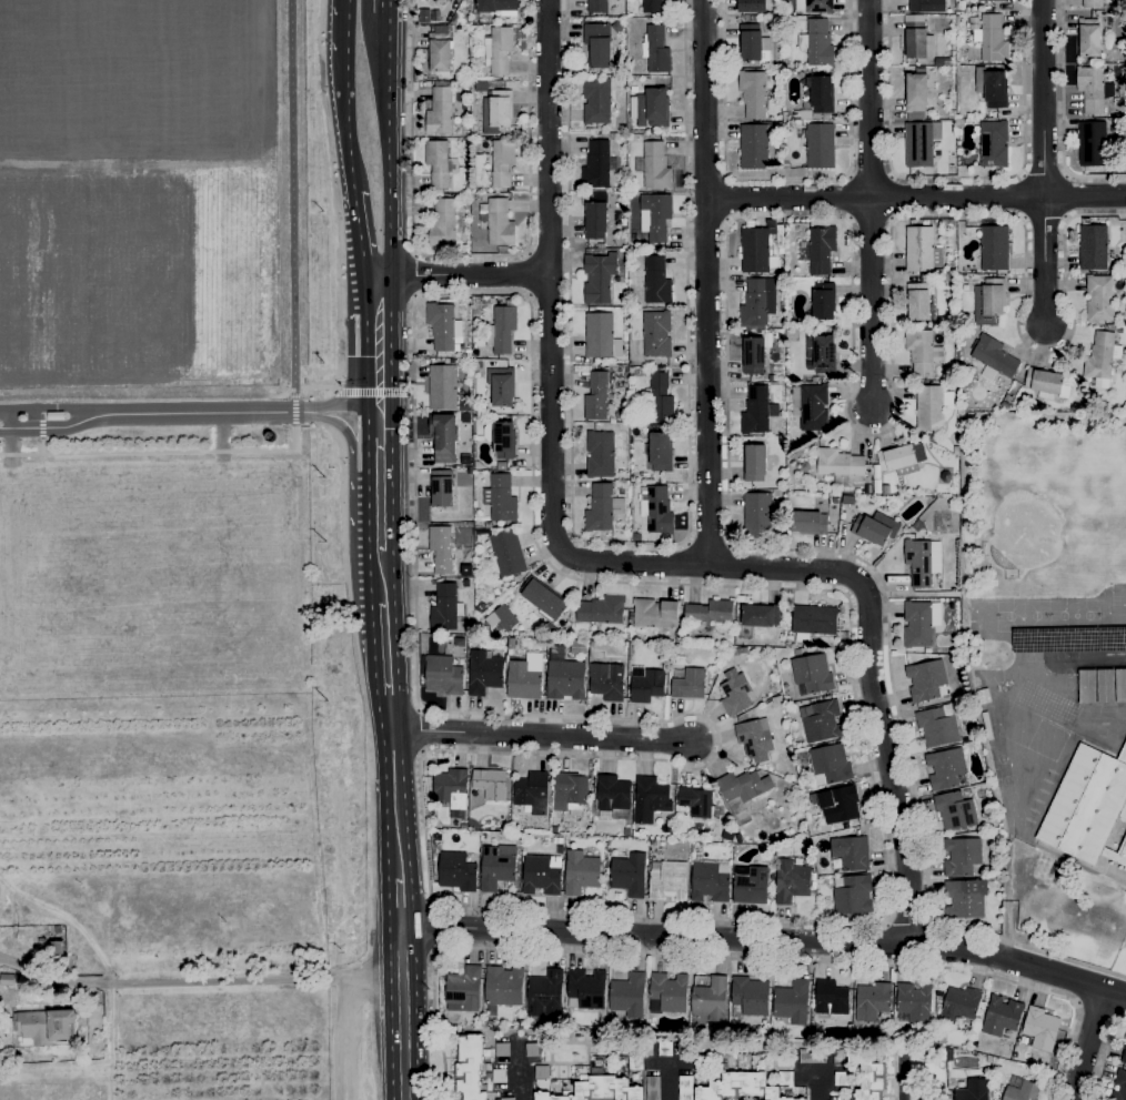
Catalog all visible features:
building: (996, 0)
building: (1093, 3)
road: (385, 4)
building: (496, 6)
building: (754, 6)
building: (814, 6)
building: (927, 6)
building: (597, 7)
building: (652, 7)
building: (423, 16)
building: (750, 18)
building: (455, 19)
building: (957, 19)
building: (616, 27)
building: (476, 28)
road: (344, 29)
building: (1088, 38)
building: (917, 39)
building: (993, 39)
building: (817, 43)
road: (386, 44)
building: (754, 44)
building: (597, 46)
building: (500, 50)
building: (656, 50)
building: (440, 54)
building: (942, 62)
building: (481, 87)
building: (992, 88)
building: (1094, 89)
building: (753, 93)
building: (822, 94)
building: (916, 94)
road: (869, 98)
road: (1044, 98)
building: (596, 101)
building: (657, 107)
building: (440, 110)
building: (496, 110)
building: (952, 113)
road: (1062, 117)
road: (345, 125)
road: (527, 128)
building: (623, 129)
building: (619, 137)
building: (921, 143)
building: (994, 144)
building: (1092, 144)
building: (755, 145)
building: (821, 147)
building: (440, 163)
building: (502, 163)
building: (597, 164)
building: (654, 166)
road: (1045, 175)
road: (390, 178)
road: (957, 178)
road: (786, 179)
road: (411, 182)
road: (915, 196)
road: (354, 199)
road: (727, 200)
building: (466, 205)
road: (292, 206)
building: (656, 216)
building: (595, 218)
road: (748, 218)
building: (443, 224)
building: (497, 224)
road: (359, 245)
building: (631, 245)
building: (803, 245)
building: (601, 246)
building: (1093, 246)
building: (994, 248)
building: (821, 249)
building: (758, 250)
building: (922, 250)
road: (1045, 259)
road: (464, 274)
road: (527, 275)
road: (415, 276)
building: (599, 277)
building: (966, 277)
building: (656, 282)
road: (706, 282)
building: (1099, 299)
building: (824, 302)
road: (872, 302)
building: (918, 302)
building: (989, 302)
building: (757, 304)
building: (441, 325)
building: (1116, 329)
building: (501, 330)
building: (656, 334)
building: (601, 336)
road: (383, 341)
building: (922, 352)
building: (822, 353)
building: (753, 355)
building: (994, 356)
building: (1099, 360)
building: (1044, 383)
building: (442, 385)
building: (501, 386)
building: (596, 397)
building: (660, 397)
building: (1008, 398)
building: (1006, 405)
road: (342, 406)
building: (811, 407)
building: (929, 408)
toll booth: (51, 410)
road: (151, 411)
building: (755, 411)
building: (619, 413)
road: (41, 432)
road: (346, 434)
building: (443, 437)
road: (383, 438)
building: (501, 438)
building: (931, 438)
building: (658, 452)
road: (167, 453)
building: (600, 454)
building: (902, 460)
building: (754, 463)
building: (838, 463)
building: (502, 466)
building: (470, 470)
building: (876, 480)
building: (441, 488)
building: (886, 490)
building: (501, 498)
building: (847, 499)
building: (835, 501)
building: (602, 508)
building: (656, 509)
building: (757, 515)
building: (808, 523)
road: (384, 527)
building: (875, 528)
building: (471, 535)
building: (636, 537)
road: (631, 544)
road: (707, 546)
building: (442, 548)
building: (505, 554)
road: (619, 562)
building: (922, 562)
park: (178, 566)
building: (465, 584)
building: (544, 601)
building: (445, 608)
building: (601, 610)
building: (655, 613)
building: (710, 613)
building: (760, 615)
building: (504, 617)
building: (813, 622)
building: (919, 623)
building: (577, 647)
building: (927, 652)
building: (484, 673)
building: (812, 675)
building: (443, 676)
building: (564, 676)
building: (524, 677)
building: (926, 680)
building: (607, 682)
building: (645, 684)
building: (688, 685)
building: (1105, 686)
building: (1120, 686)
building: (1087, 687)
building: (734, 693)
building: (981, 697)
building: (821, 721)
building: (937, 726)
road: (541, 737)
building: (755, 739)
road: (394, 755)
building: (801, 757)
building: (830, 765)
building: (945, 768)
building: (490, 784)
building: (742, 789)
building: (451, 790)
building: (532, 793)
building: (570, 794)
building: (612, 795)
building: (650, 799)
building: (696, 803)
building: (840, 805)
building: (1088, 807)
building: (955, 811)
building: (463, 827)
building: (554, 829)
building: (626, 831)
building: (636, 835)
building: (483, 836)
building: (560, 840)
building: (652, 842)
building: (560, 850)
building: (851, 854)
building: (962, 857)
building: (997, 867)
building: (495, 869)
building: (456, 872)
building: (581, 874)
building: (542, 875)
building: (630, 875)
building: (667, 880)
building: (793, 881)
building: (710, 882)
building: (750, 885)
building: (852, 897)
crop: (158, 899)
building: (965, 899)
road: (572, 912)
road: (908, 921)
road: (434, 928)
building: (58, 930)
building: (41, 941)
road: (766, 941)
building: (58, 948)
road: (683, 956)
building: (7, 980)
road: (197, 981)
building: (504, 987)
building: (463, 990)
building: (586, 990)
building: (667, 993)
building: (545, 995)
building: (629, 996)
building: (750, 997)
building: (832, 998)
building: (710, 1000)
building: (872, 1001)
building: (792, 1002)
building: (915, 1002)
road: (342, 1006)
building: (959, 1006)
road: (401, 1012)
building: (1002, 1017)
building: (46, 1027)
building: (1040, 1028)
building: (813, 1032)
road: (342, 1036)
road: (1087, 1045)
building: (663, 1049)
building: (502, 1050)
building: (532, 1050)
road: (1065, 1052)
road: (1104, 1053)
building: (746, 1056)
building: (725, 1057)
building: (812, 1057)
building: (1124, 1057)
building: (988, 1059)
building: (635, 1063)
building: (471, 1068)
building: (577, 1068)
building: (541, 1072)
building: (867, 1076)
building: (499, 1077)
road: (521, 1077)
building: (785, 1079)
building: (841, 1079)
building: (552, 1081)
road: (903, 1082)
road: (665, 1086)
road: (817, 1086)
building: (738, 1087)
building: (1119, 1087)
building: (652, 1088)
building: (685, 1088)
building: (599, 1089)
building: (974, 1090)
building: (1023, 1092)
building: (497, 1099)
building: (507, 1099)
building: (802, 1099)

